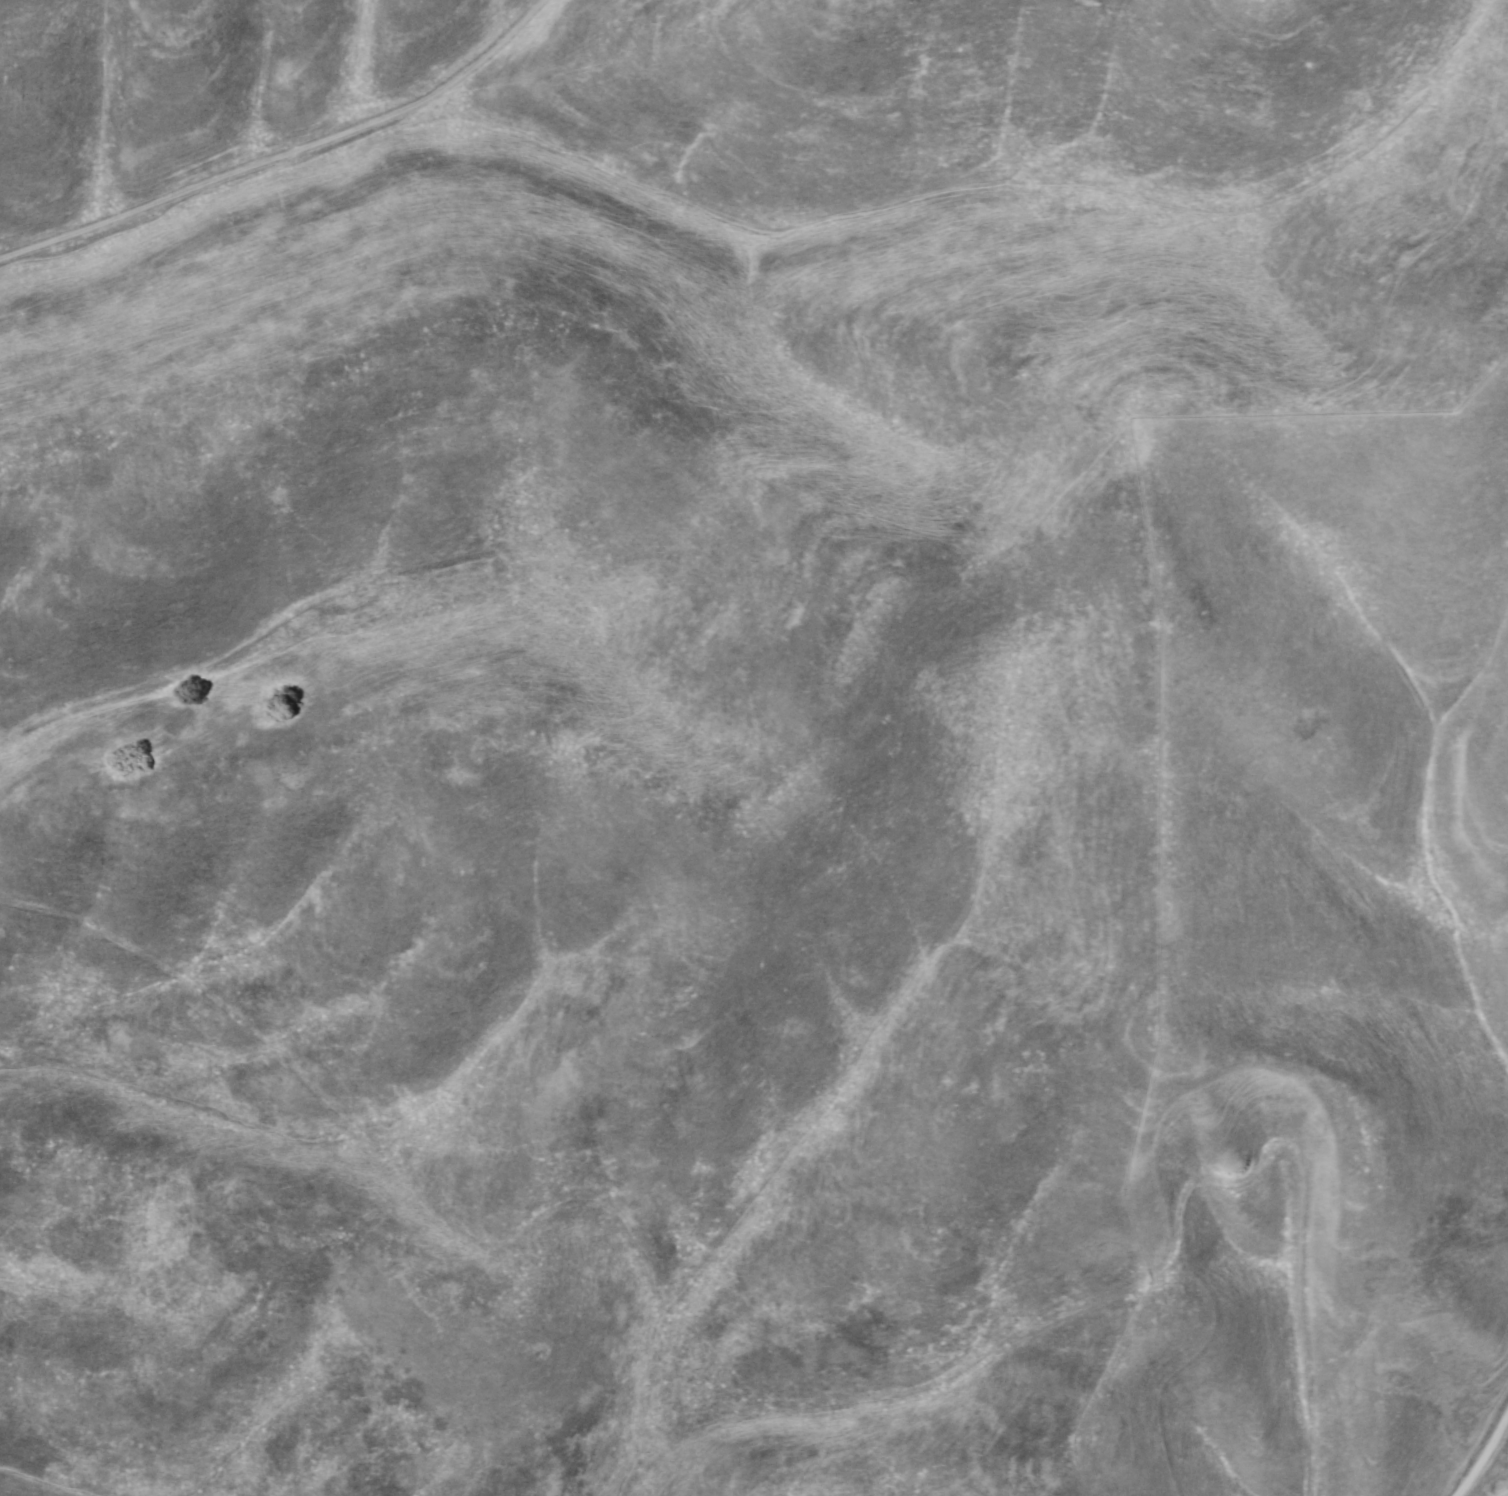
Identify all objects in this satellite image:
road: (283, 157)
road: (1480, 1456)

